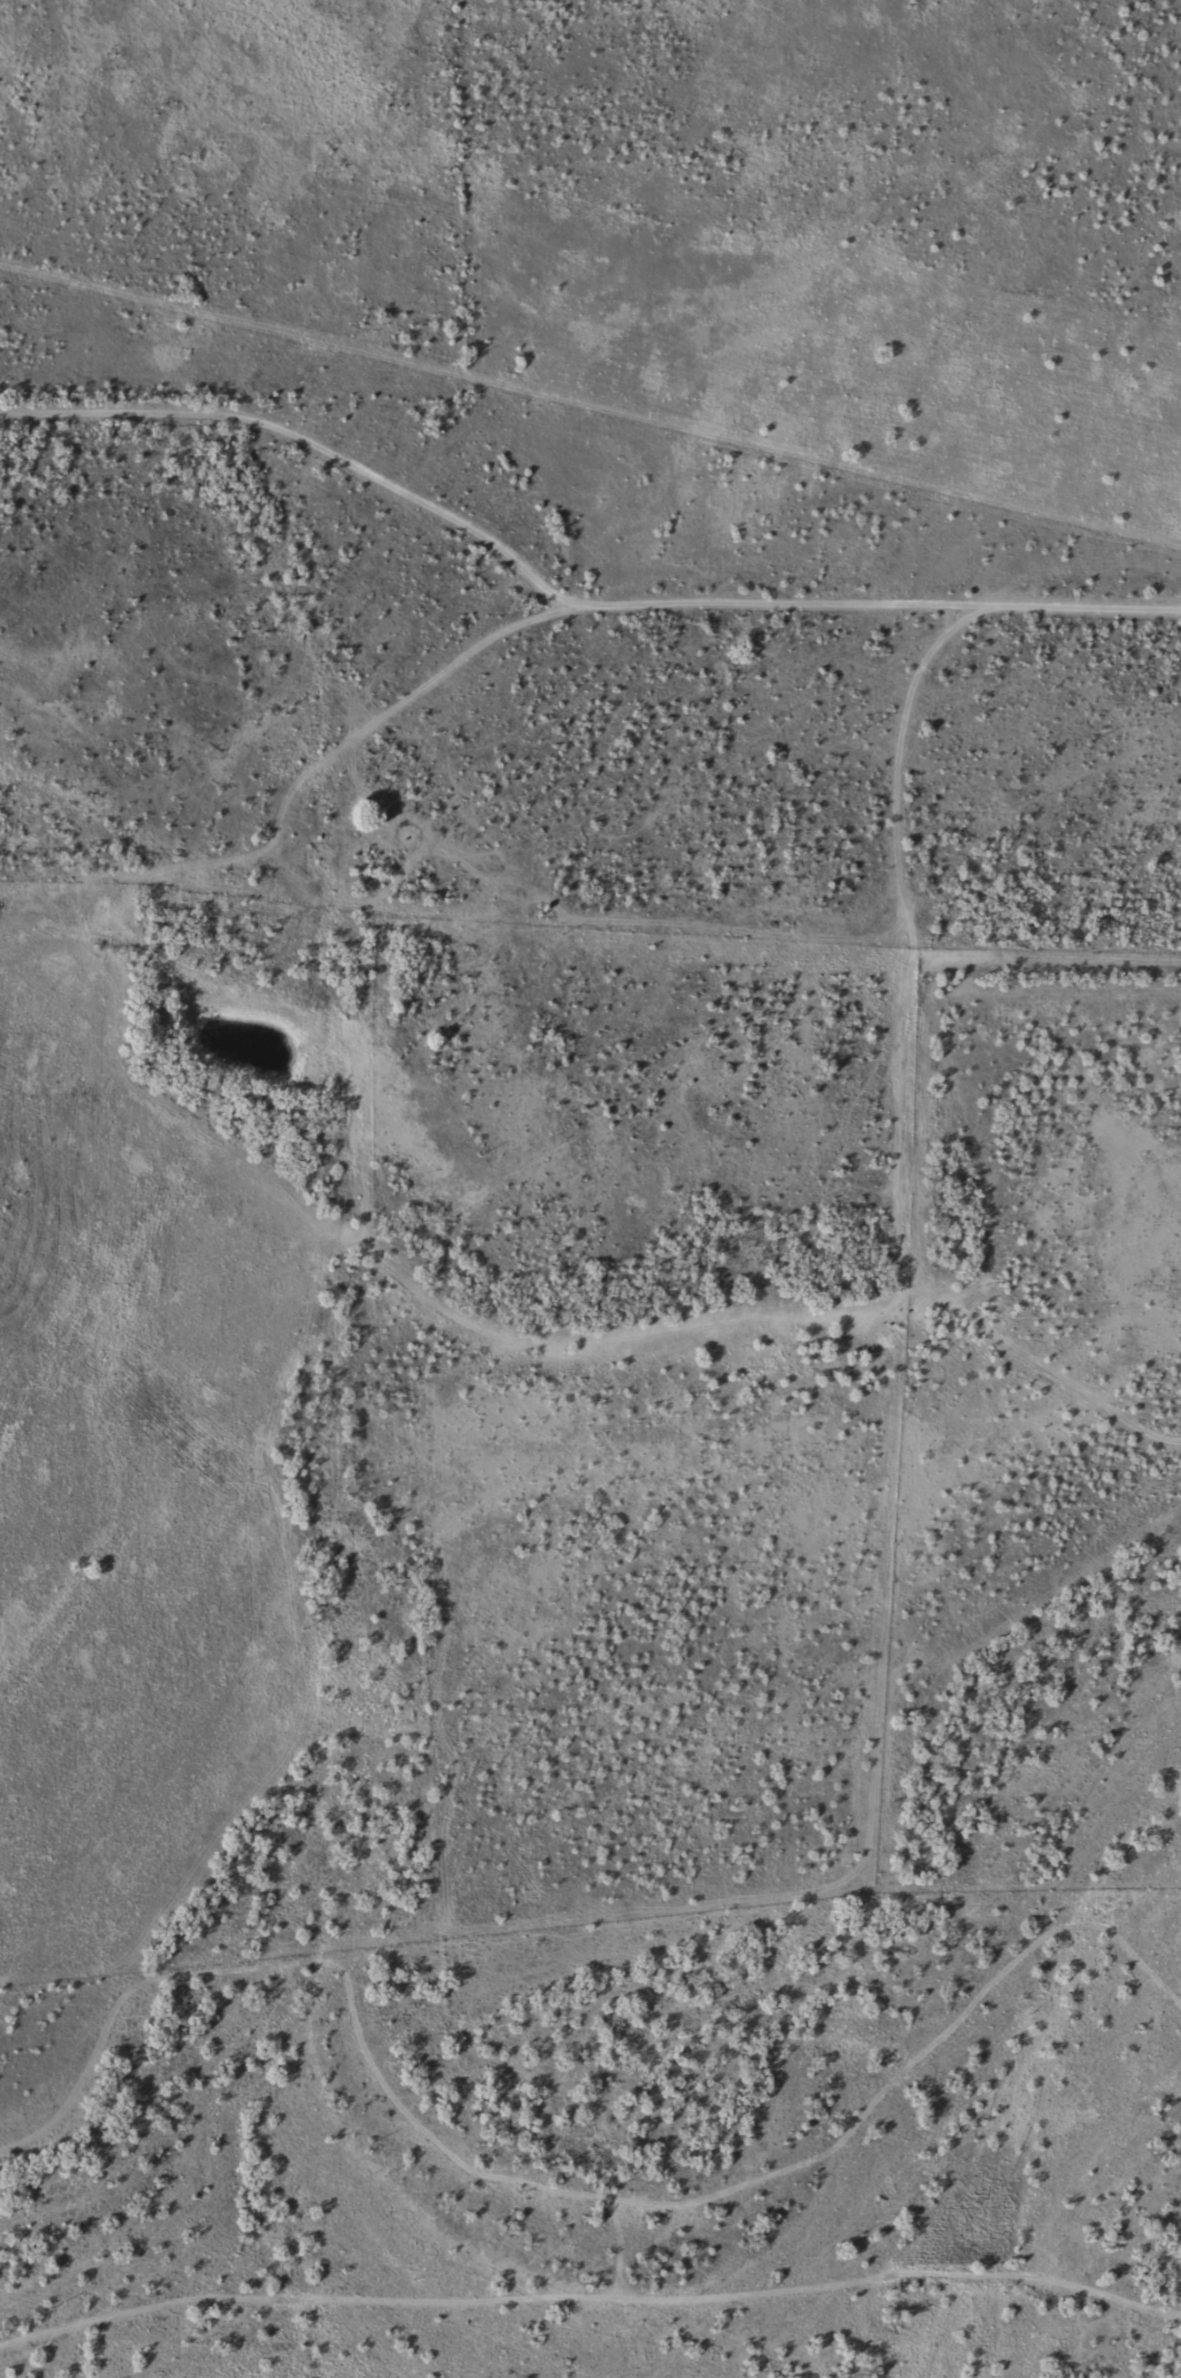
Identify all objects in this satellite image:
road: (640, 626)

